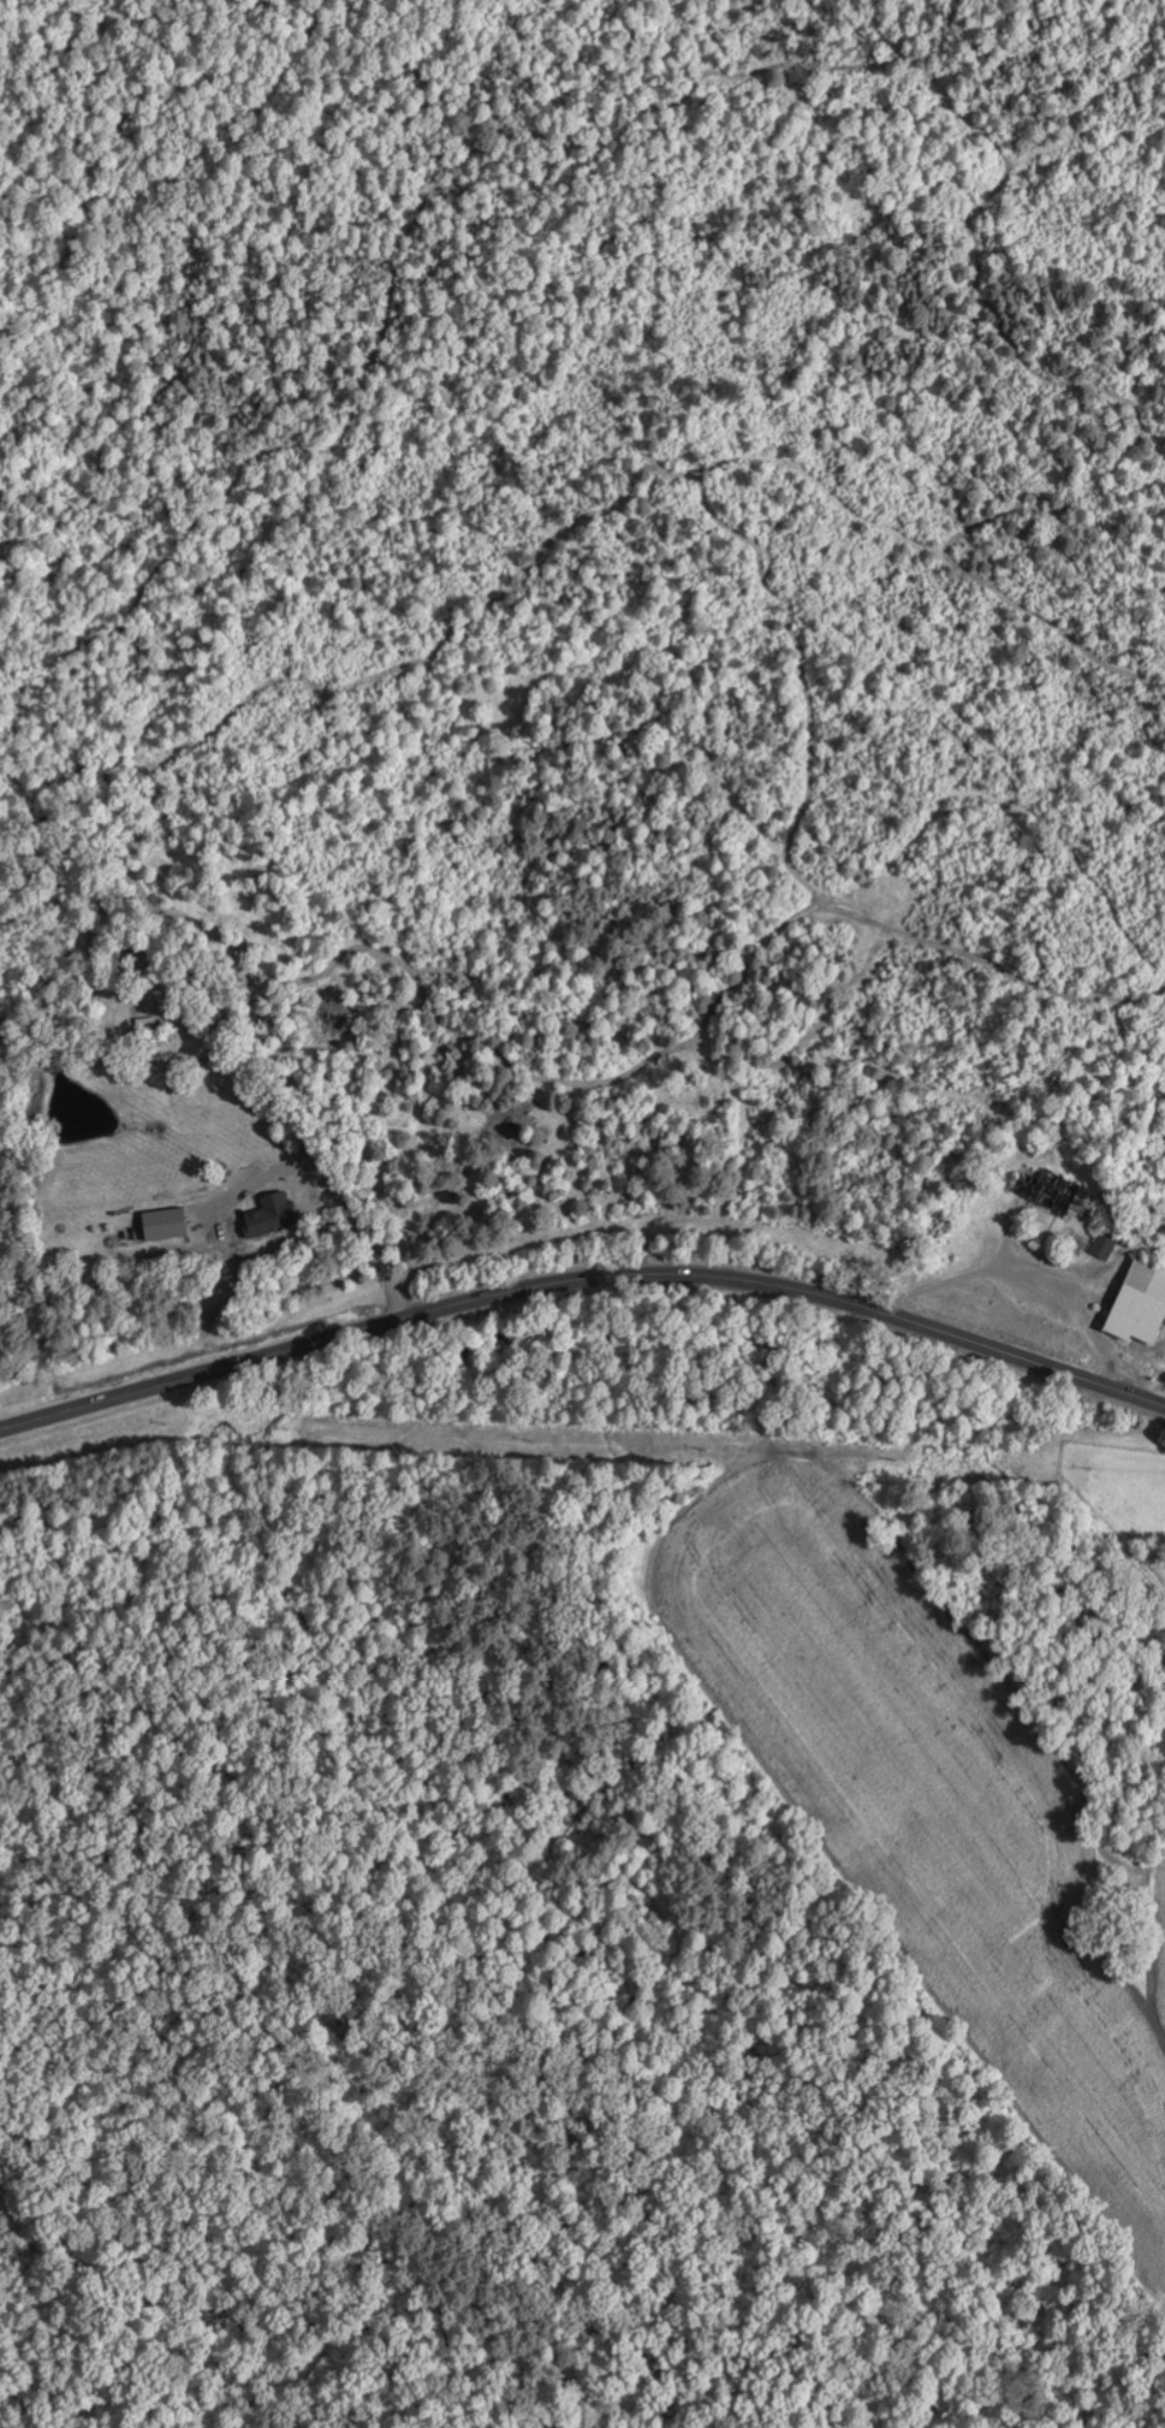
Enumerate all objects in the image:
road: (888, 1167)
road: (982, 1184)
building: (1050, 1190)
building: (273, 1215)
building: (165, 1224)
building: (1108, 1243)
road: (582, 1280)
building: (1140, 1303)

